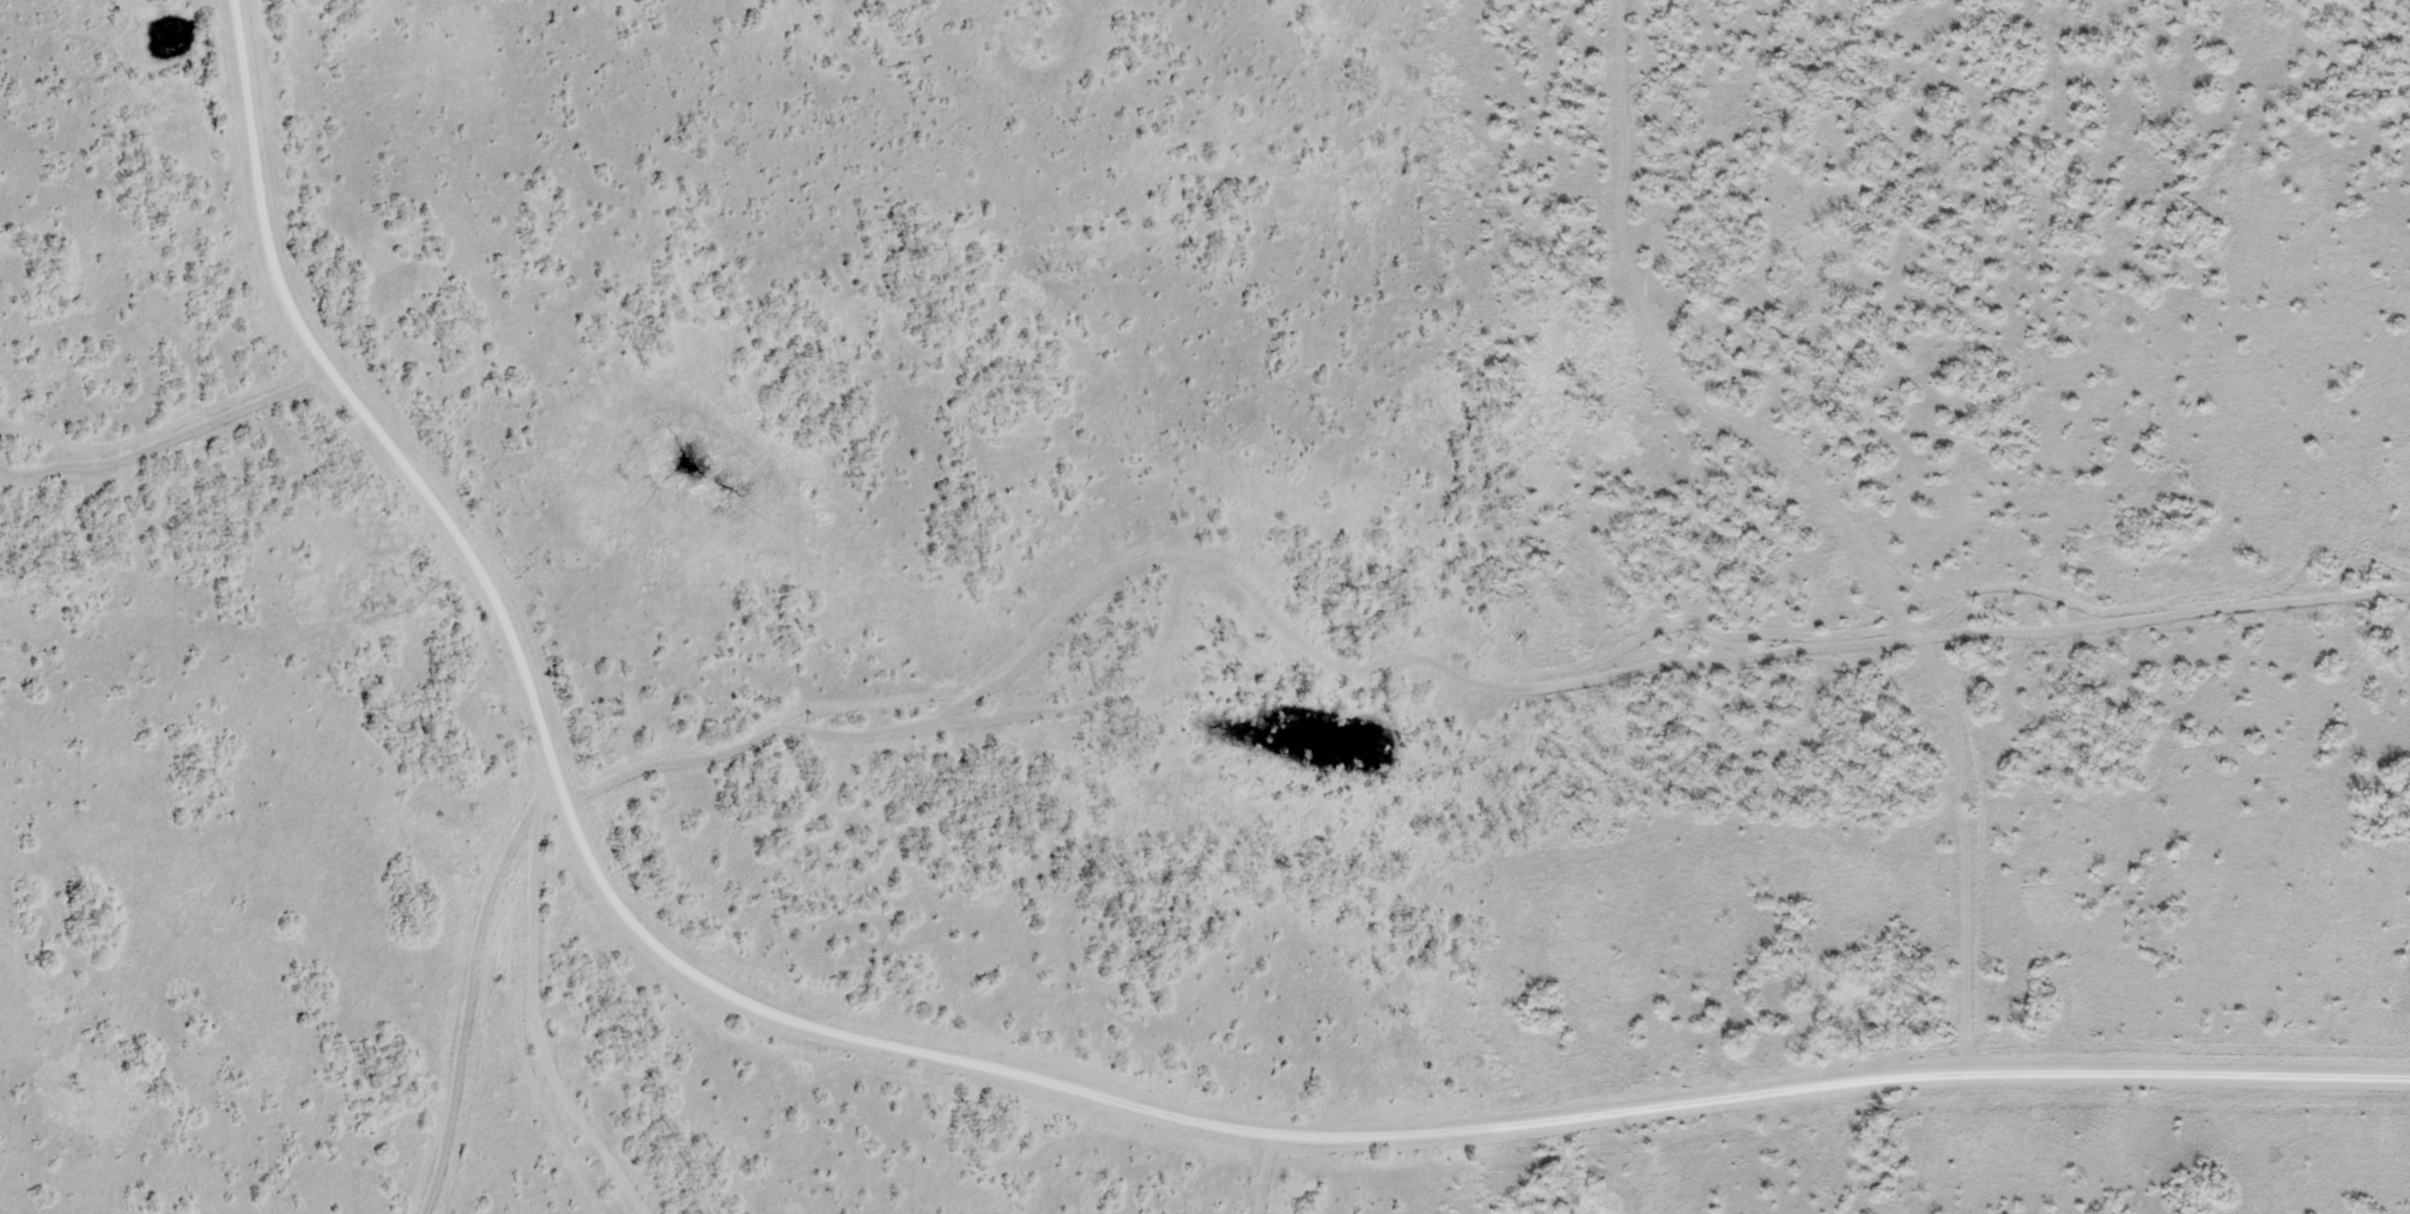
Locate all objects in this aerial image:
road: (512, 599)
road: (1441, 1153)
road: (1225, 1183)

